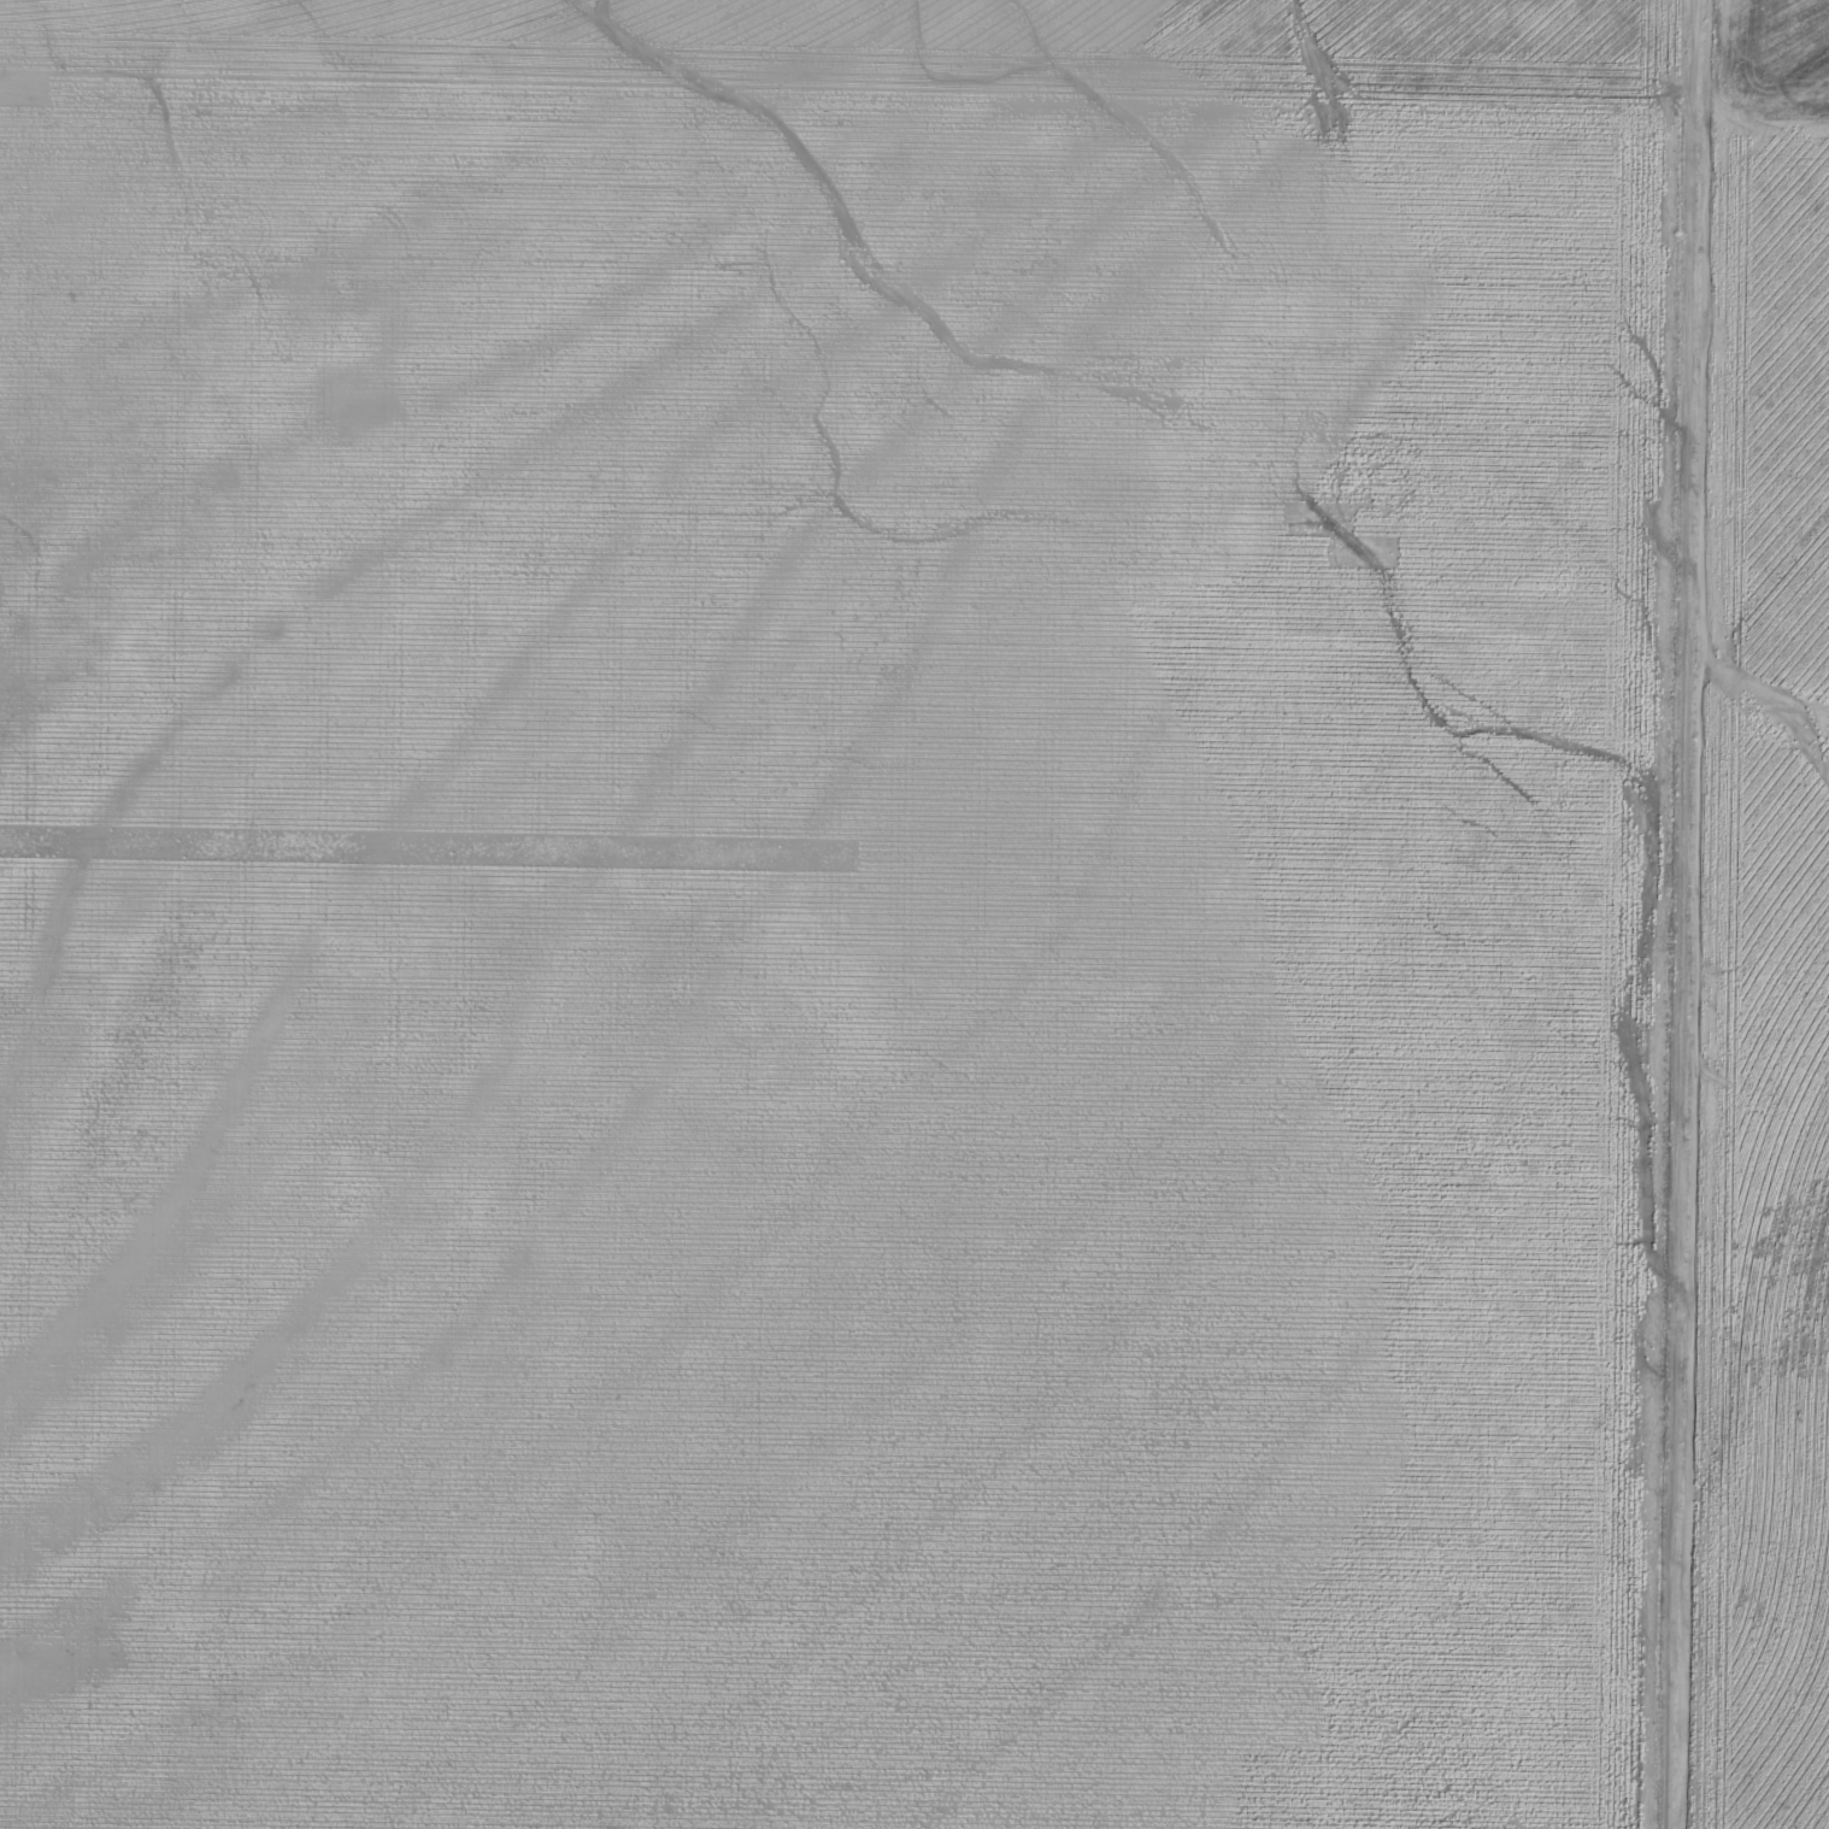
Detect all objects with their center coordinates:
road: (1637, 914)

